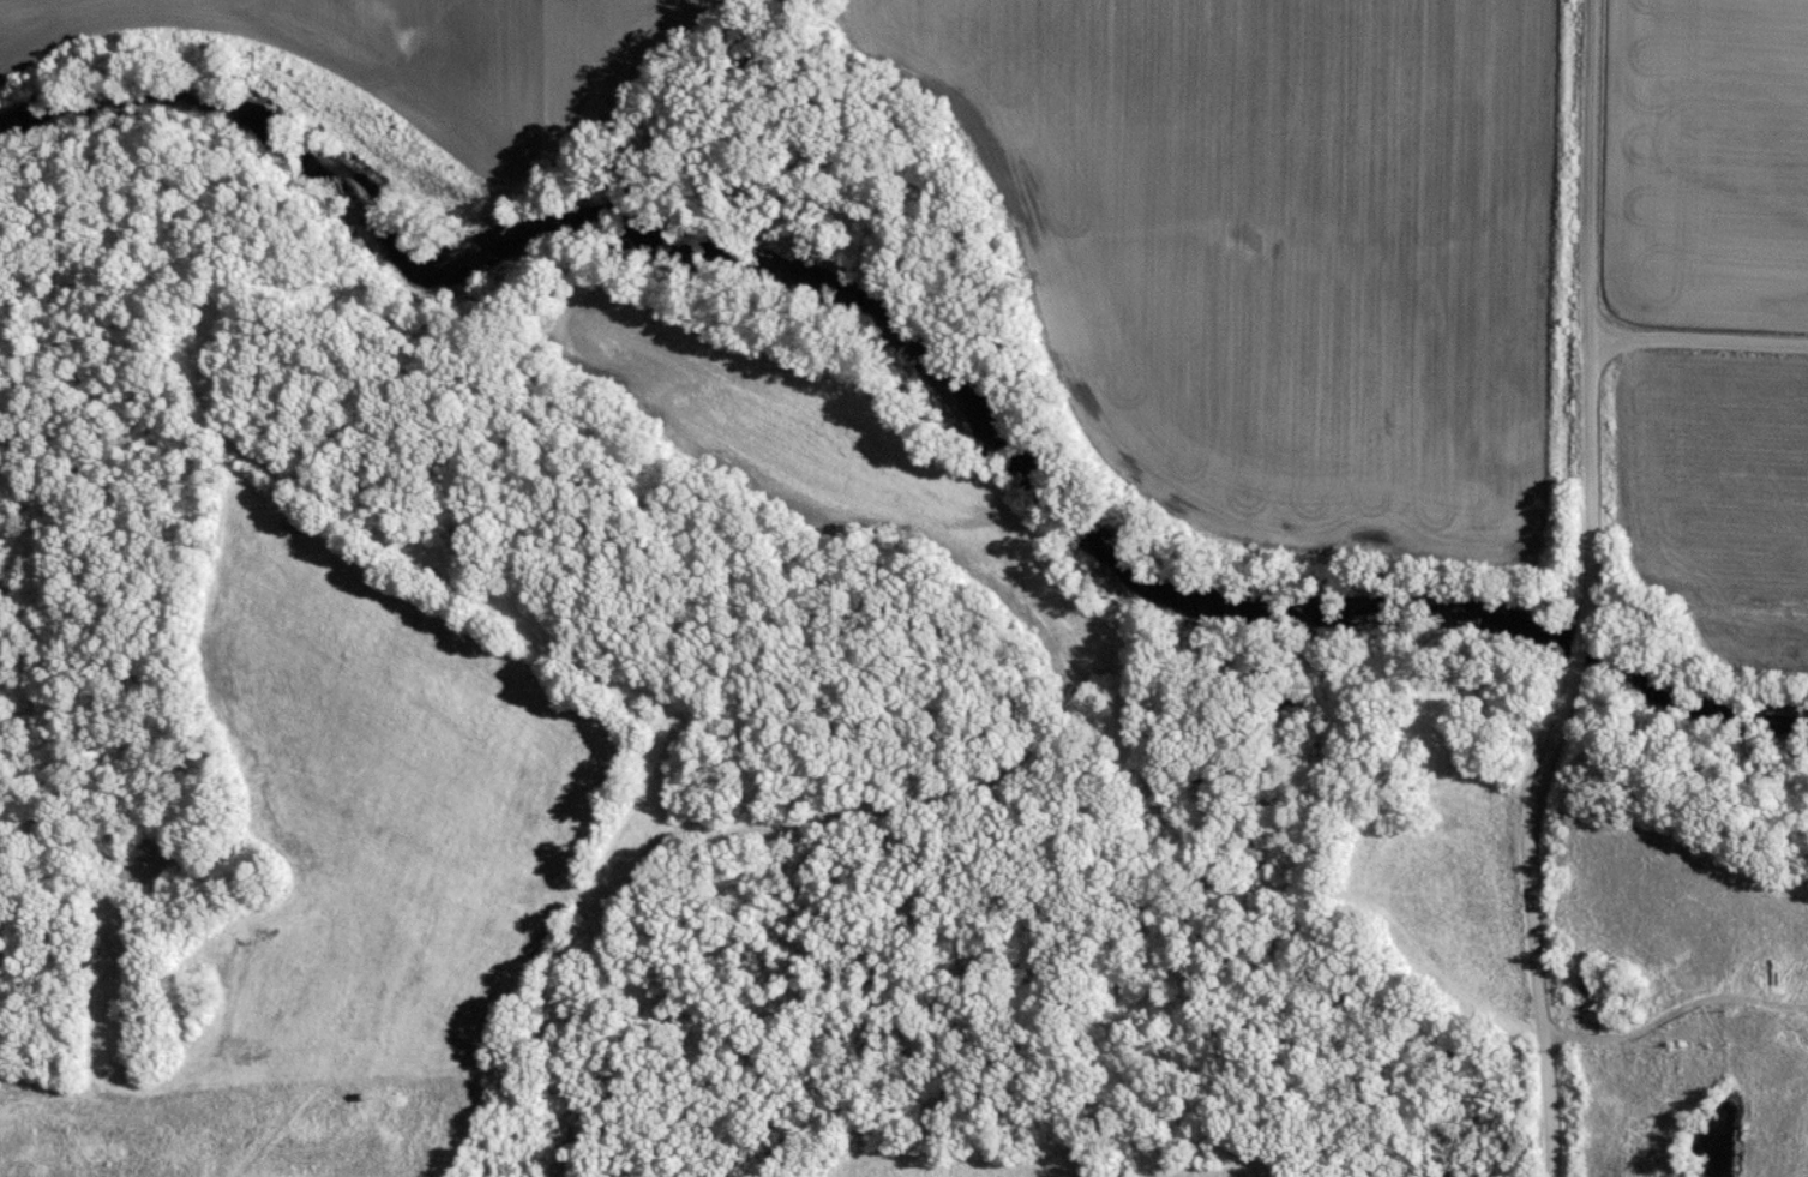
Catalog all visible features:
road: (1702, 343)
road: (1599, 595)
road: (1671, 1013)

